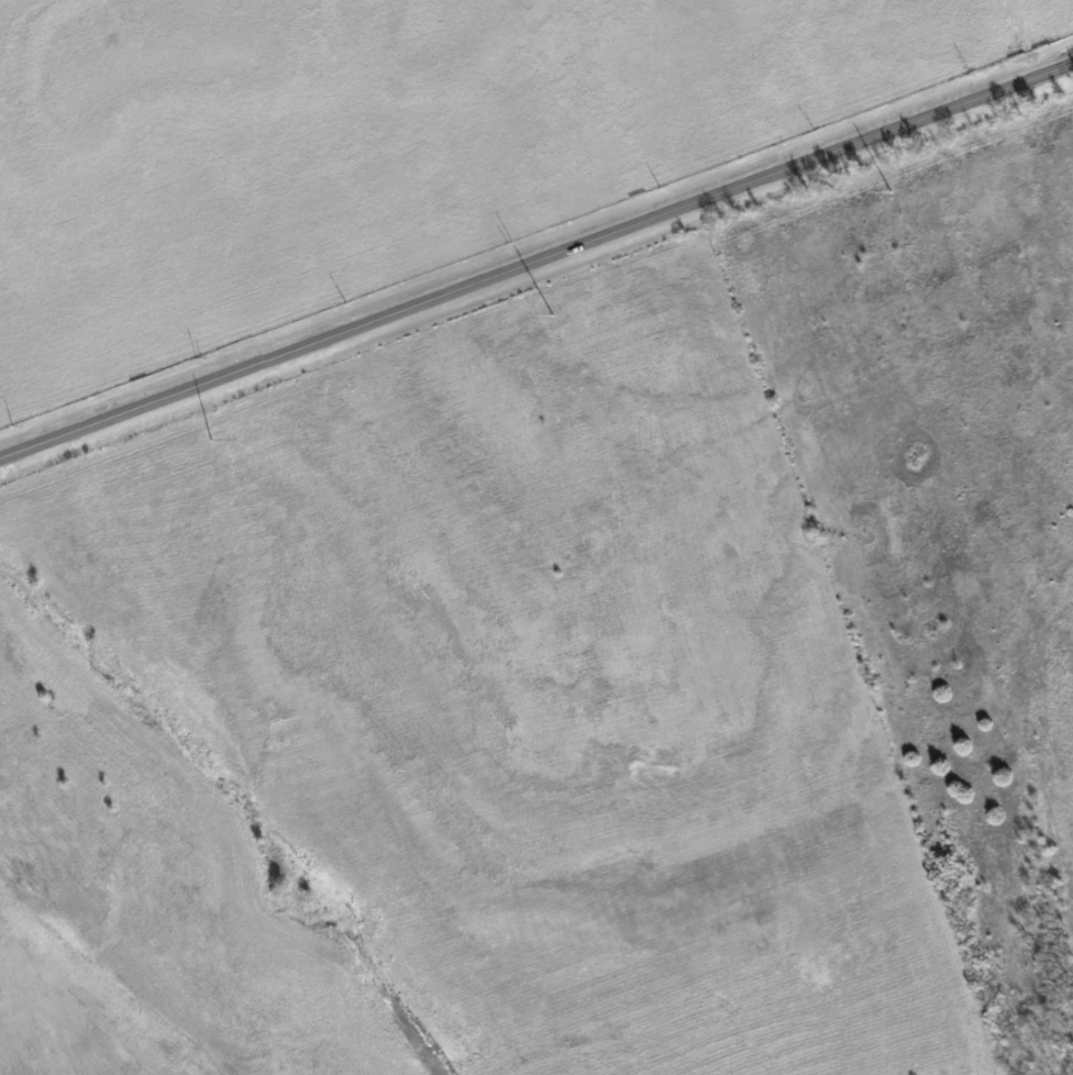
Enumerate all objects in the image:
power tower: (886, 193)
road: (536, 261)
power tower: (550, 317)
power tower: (210, 442)

